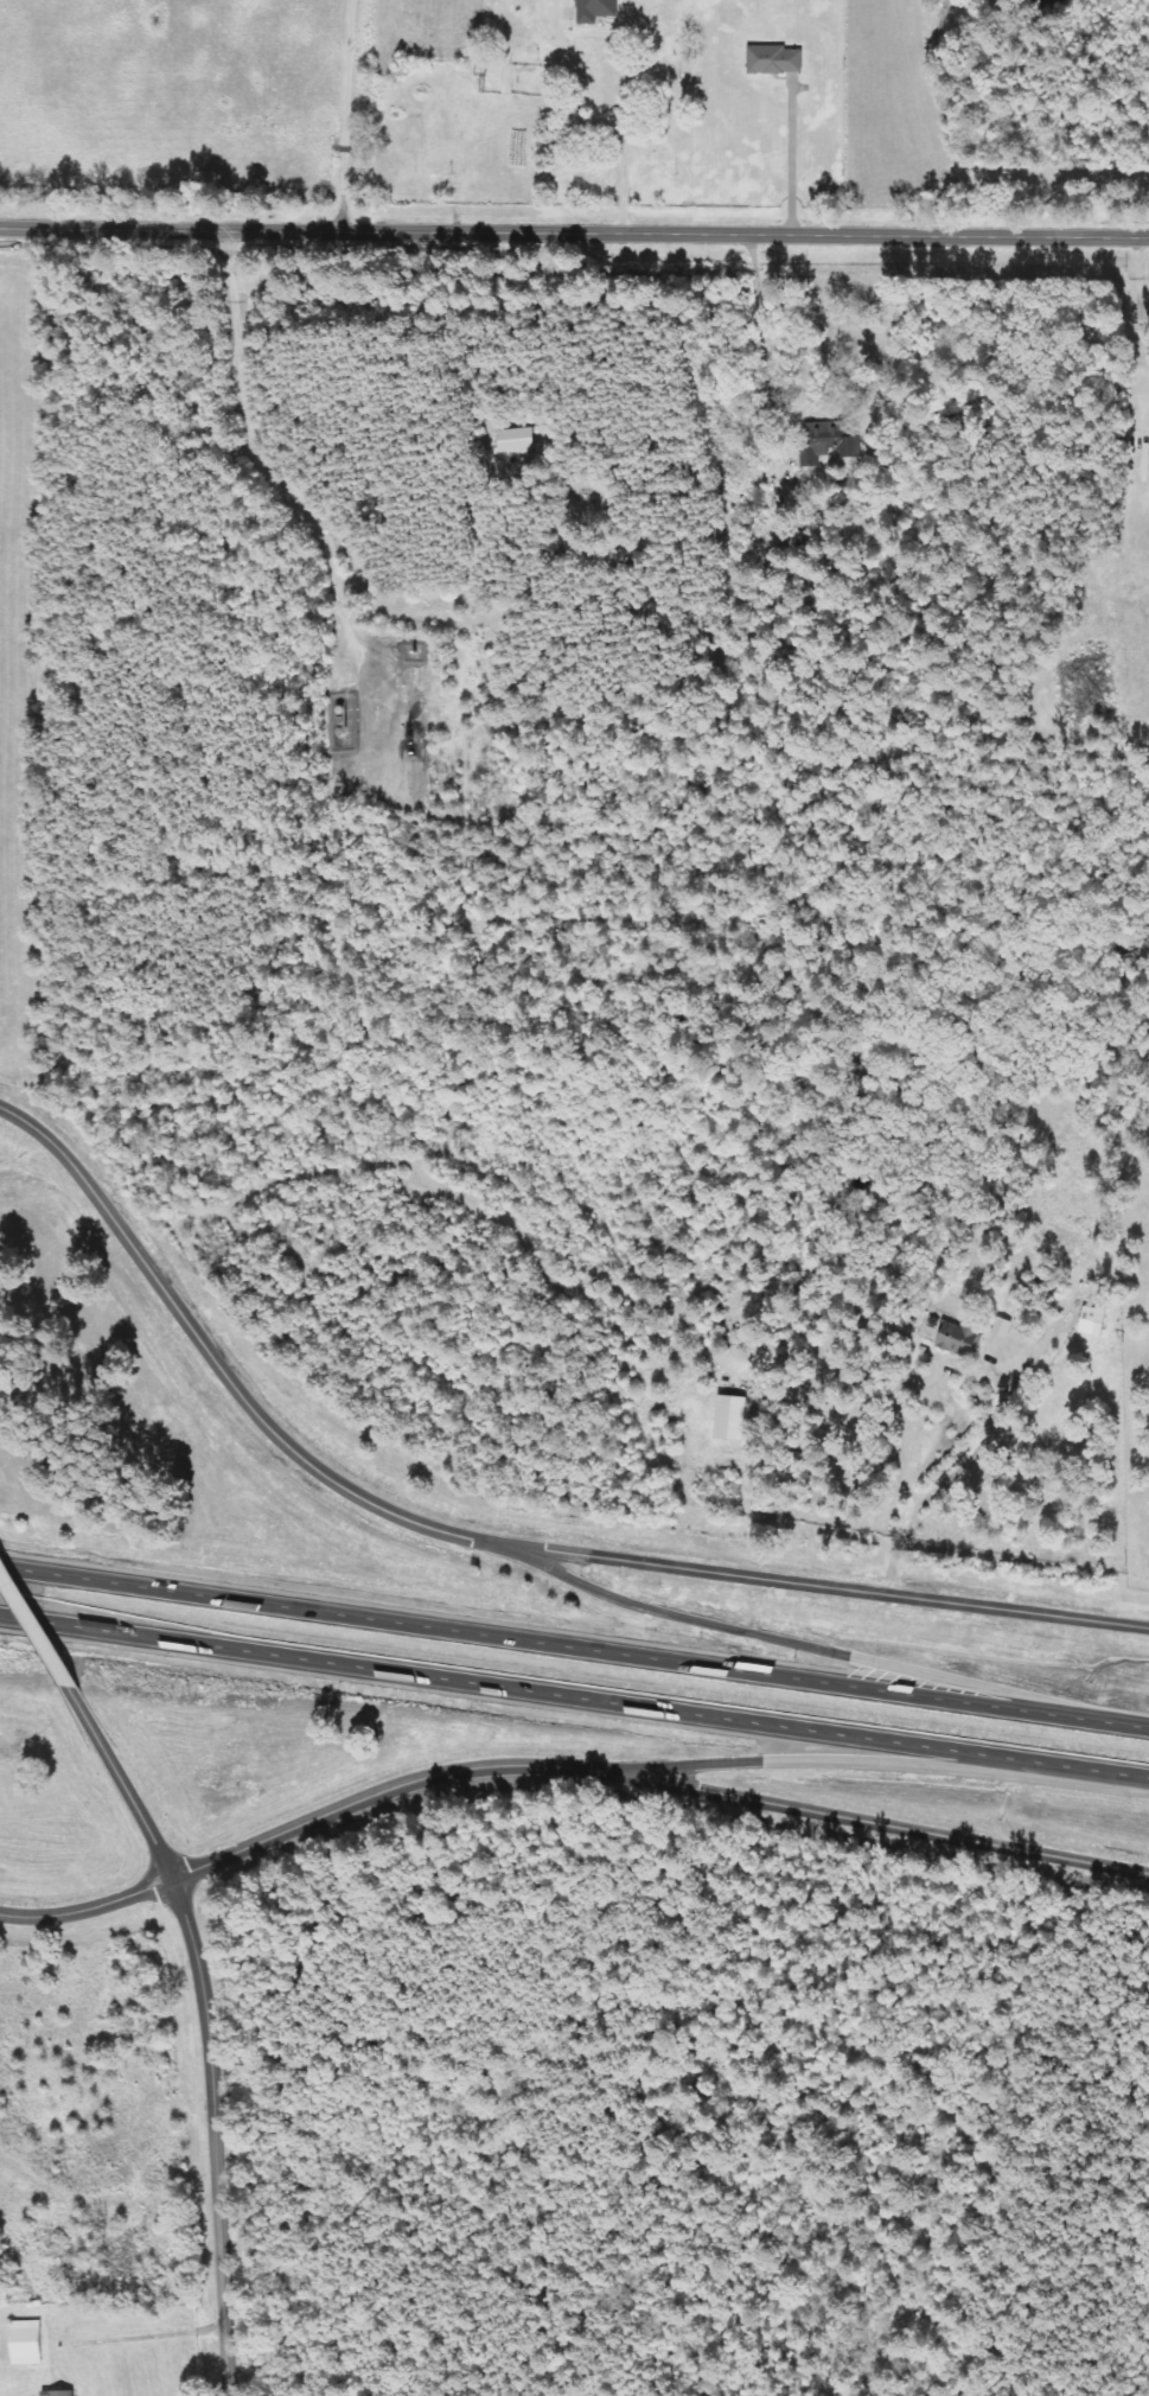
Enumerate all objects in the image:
building: (595, 9)
building: (774, 59)
road: (605, 115)
road: (574, 231)
road: (1142, 294)
building: (512, 440)
building: (822, 446)
building: (1092, 1320)
building: (1001, 1327)
building: (959, 1339)
road: (219, 1365)
building: (730, 1416)
road: (825, 1586)
road: (36, 1624)
road: (574, 1646)
road: (821, 1648)
road: (574, 1699)
road: (861, 1760)
road: (122, 1780)
road: (861, 1820)
road: (283, 1830)
road: (212, 2134)
road: (151, 2333)
building: (26, 2341)
building: (57, 2392)

